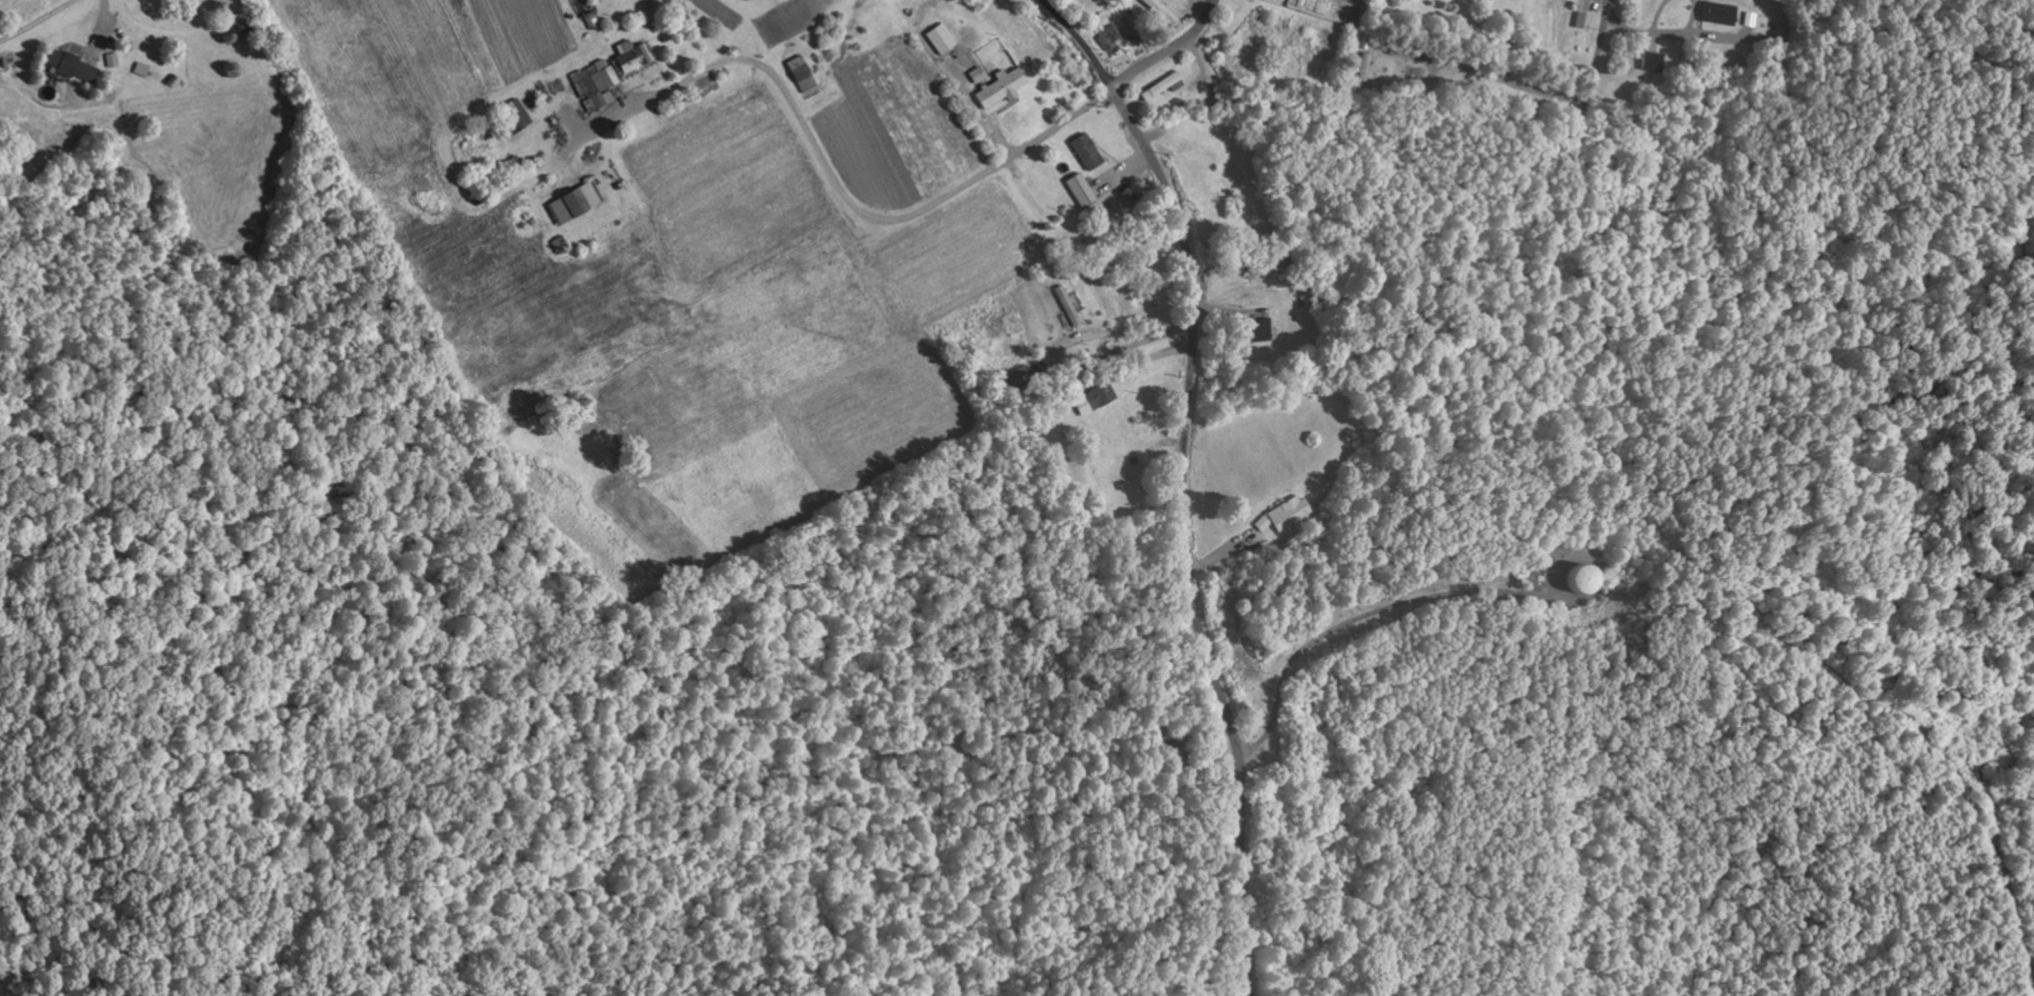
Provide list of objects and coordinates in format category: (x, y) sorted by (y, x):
building: (1158, 11)
building: (1716, 12)
building: (1581, 20)
building: (939, 39)
road: (1080, 41)
road: (1168, 51)
building: (635, 58)
building: (114, 59)
building: (1649, 61)
building: (77, 66)
building: (803, 73)
building: (974, 75)
building: (598, 84)
building: (1159, 86)
building: (998, 87)
road: (1589, 90)
road: (797, 107)
building: (516, 118)
road: (1031, 143)
building: (1084, 151)
building: (1083, 191)
building: (579, 202)
road: (864, 203)
building: (1252, 329)
building: (1085, 399)
road: (1184, 536)
building: (1571, 580)
road: (1178, 960)

